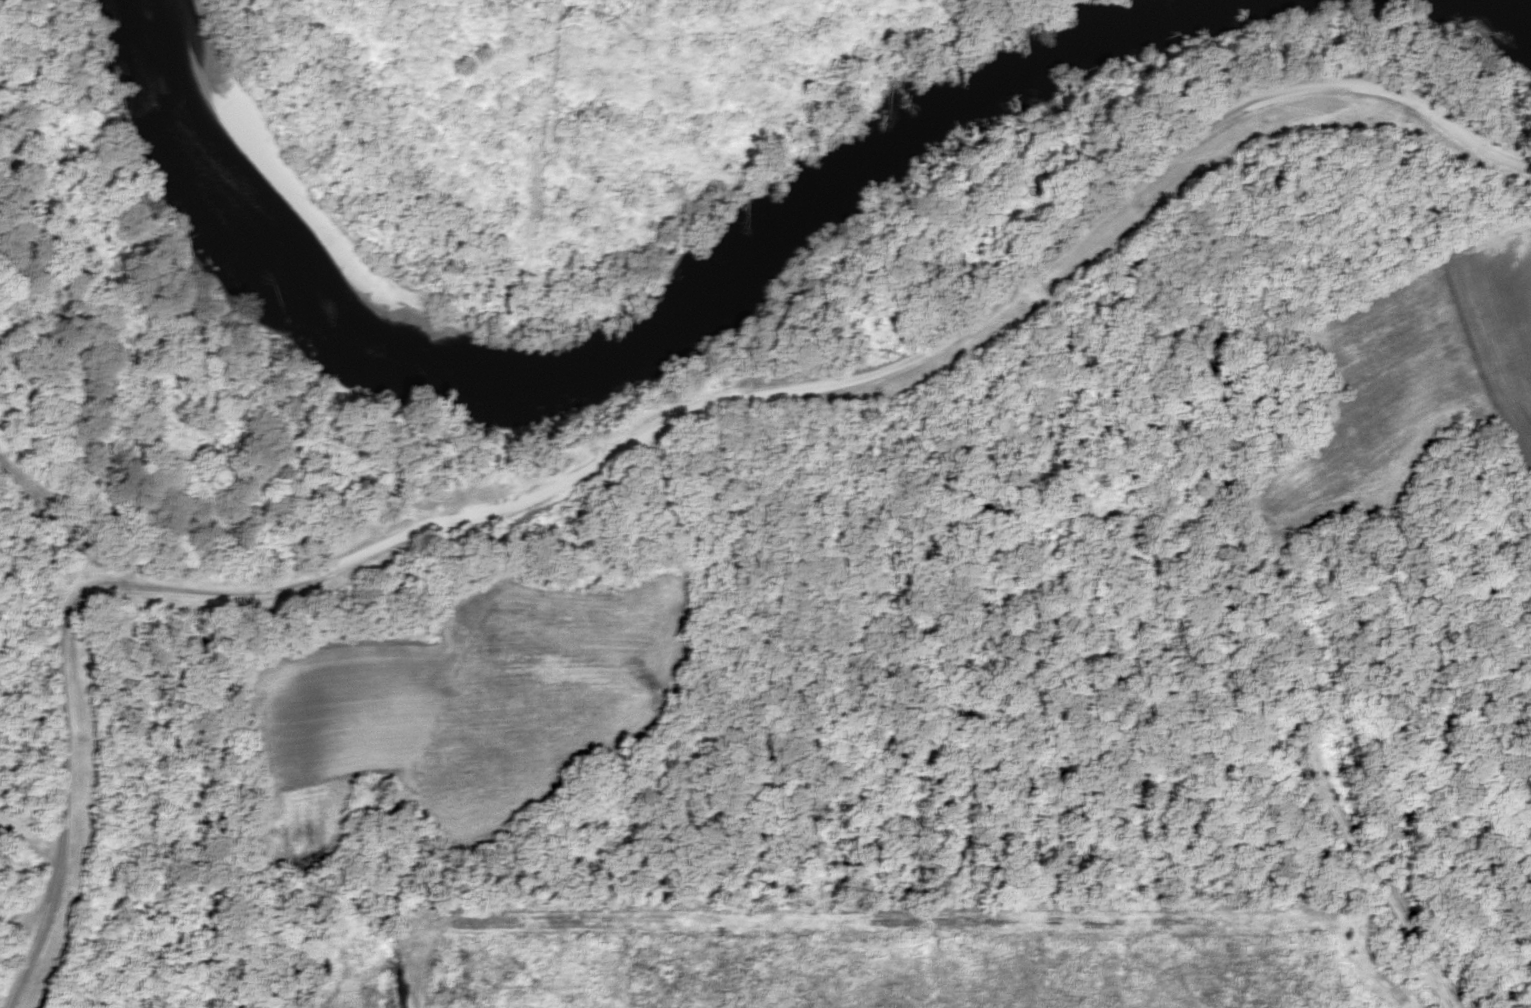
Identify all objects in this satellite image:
river: (643, 344)

